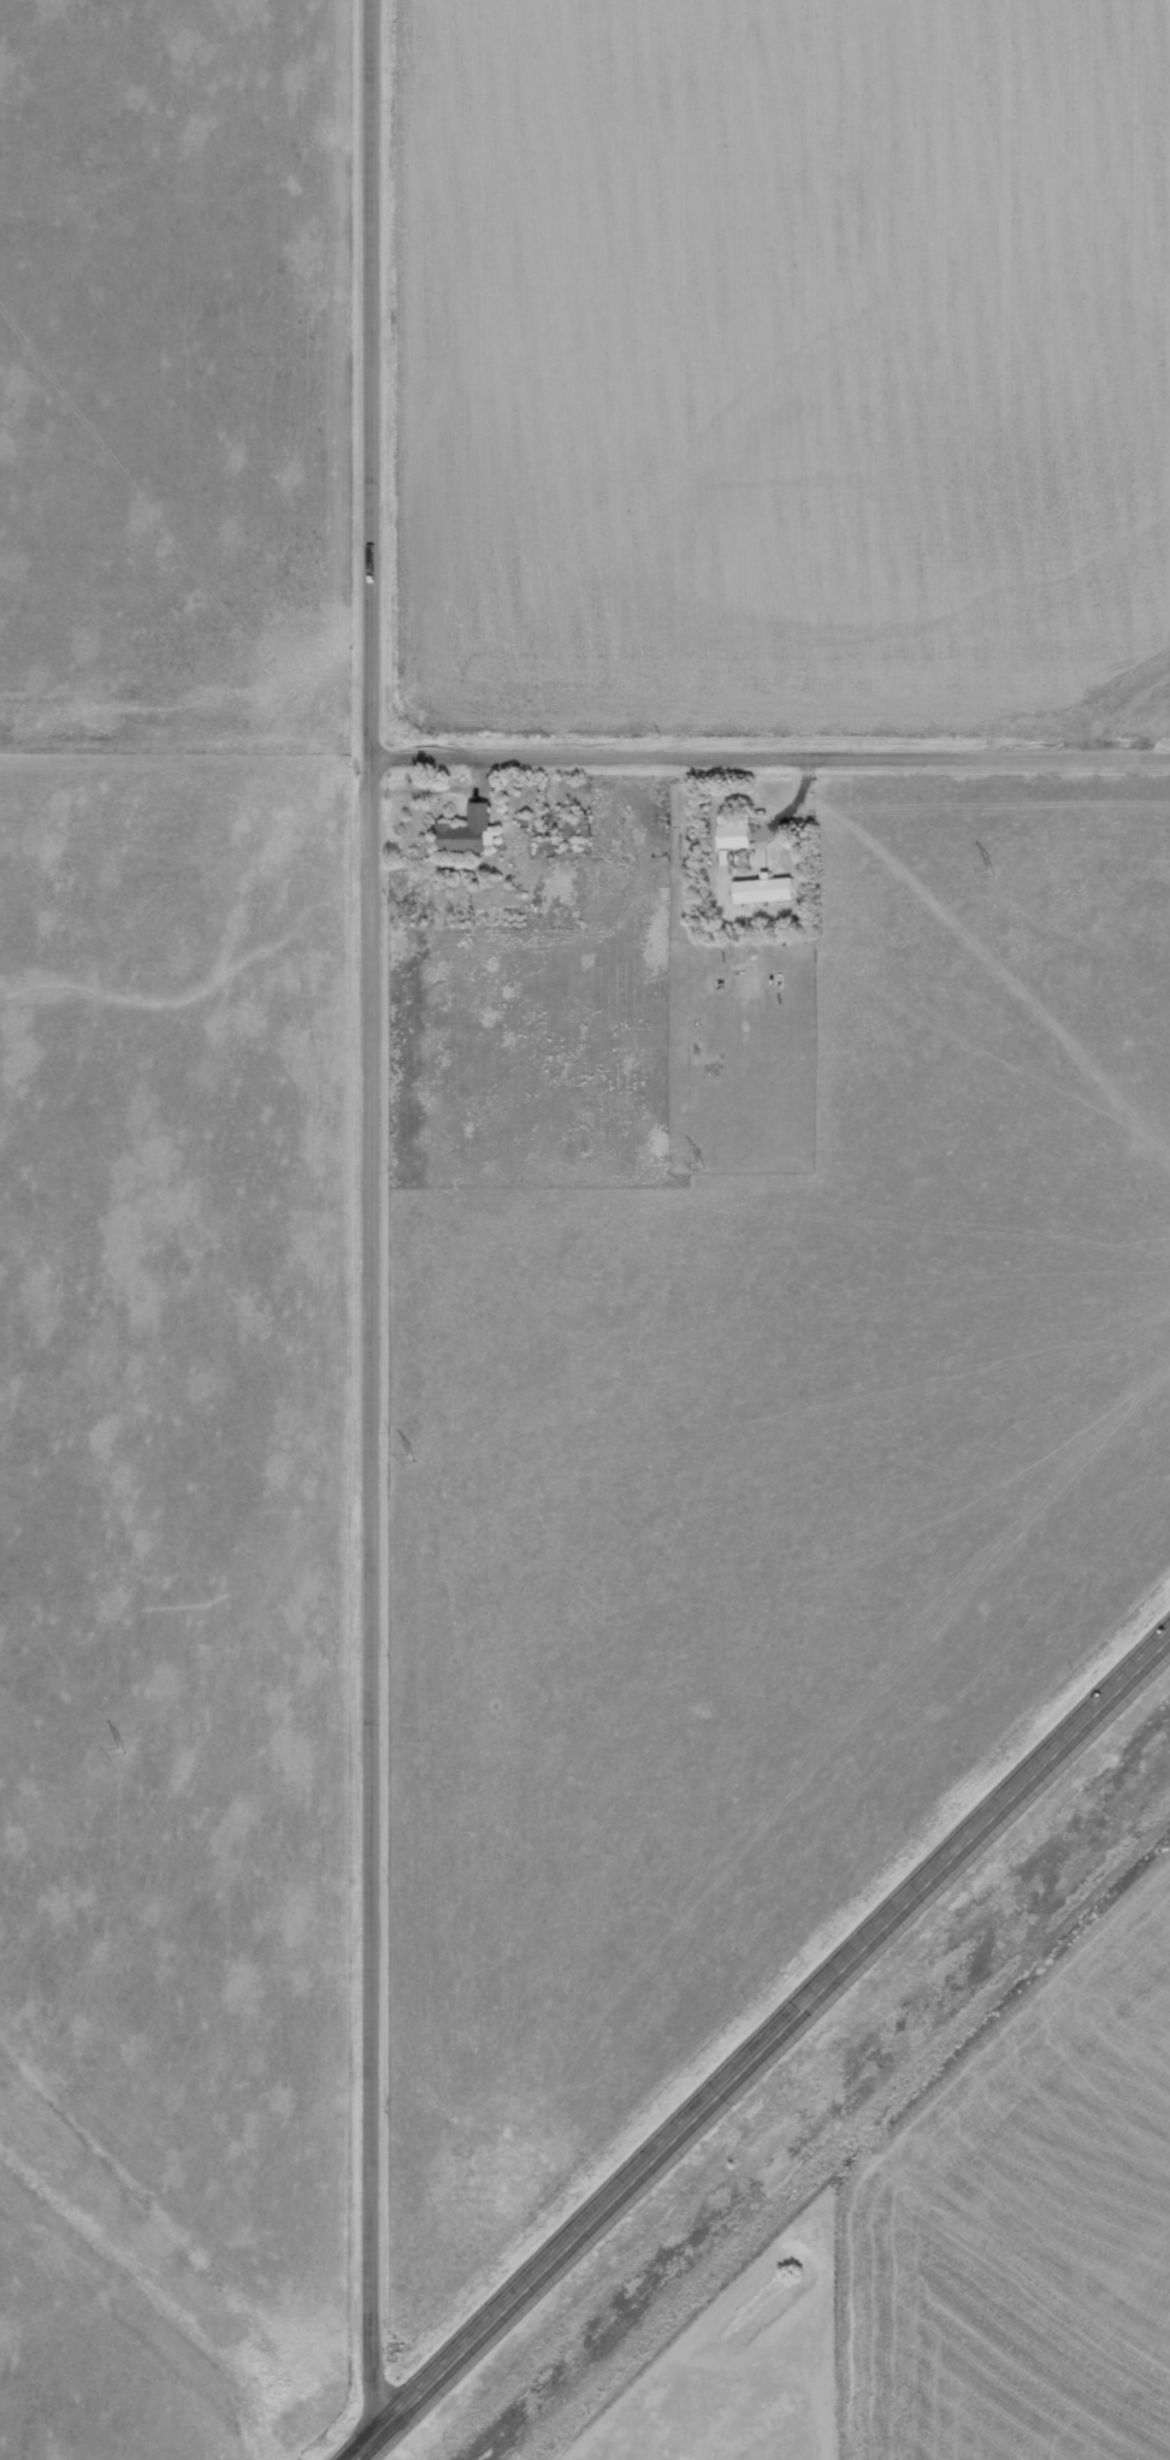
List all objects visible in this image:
road: (772, 755)
building: (578, 828)
building: (472, 829)
building: (739, 832)
power tower: (988, 873)
building: (767, 888)
power tower: (699, 1164)
road: (374, 1230)
power tower: (409, 1455)
power tower: (119, 1749)
road: (764, 2051)

